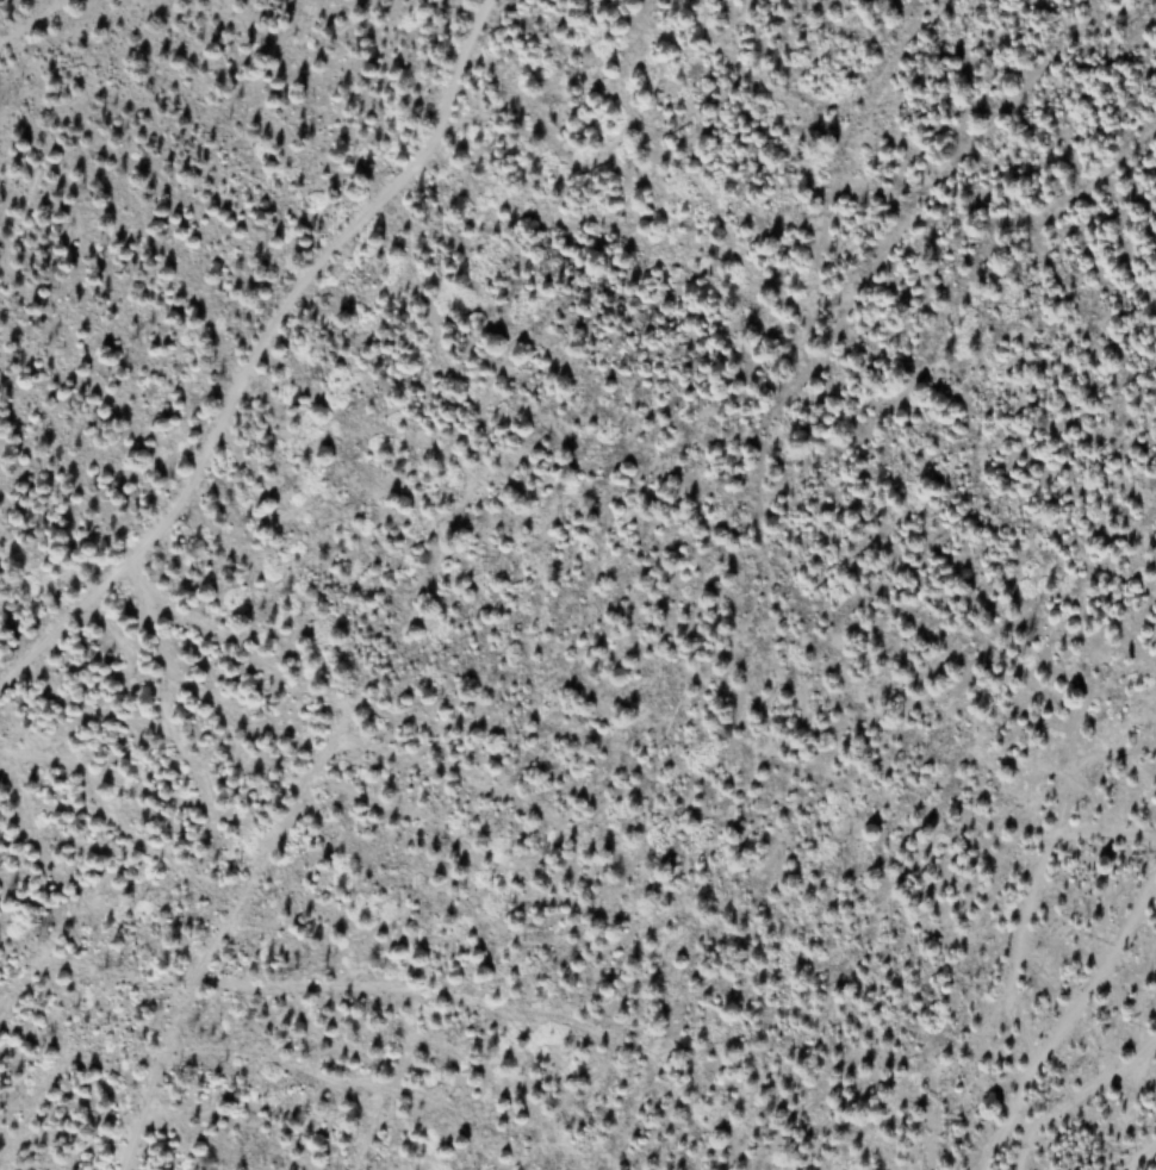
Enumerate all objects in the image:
road: (257, 349)
road: (1142, 1158)

